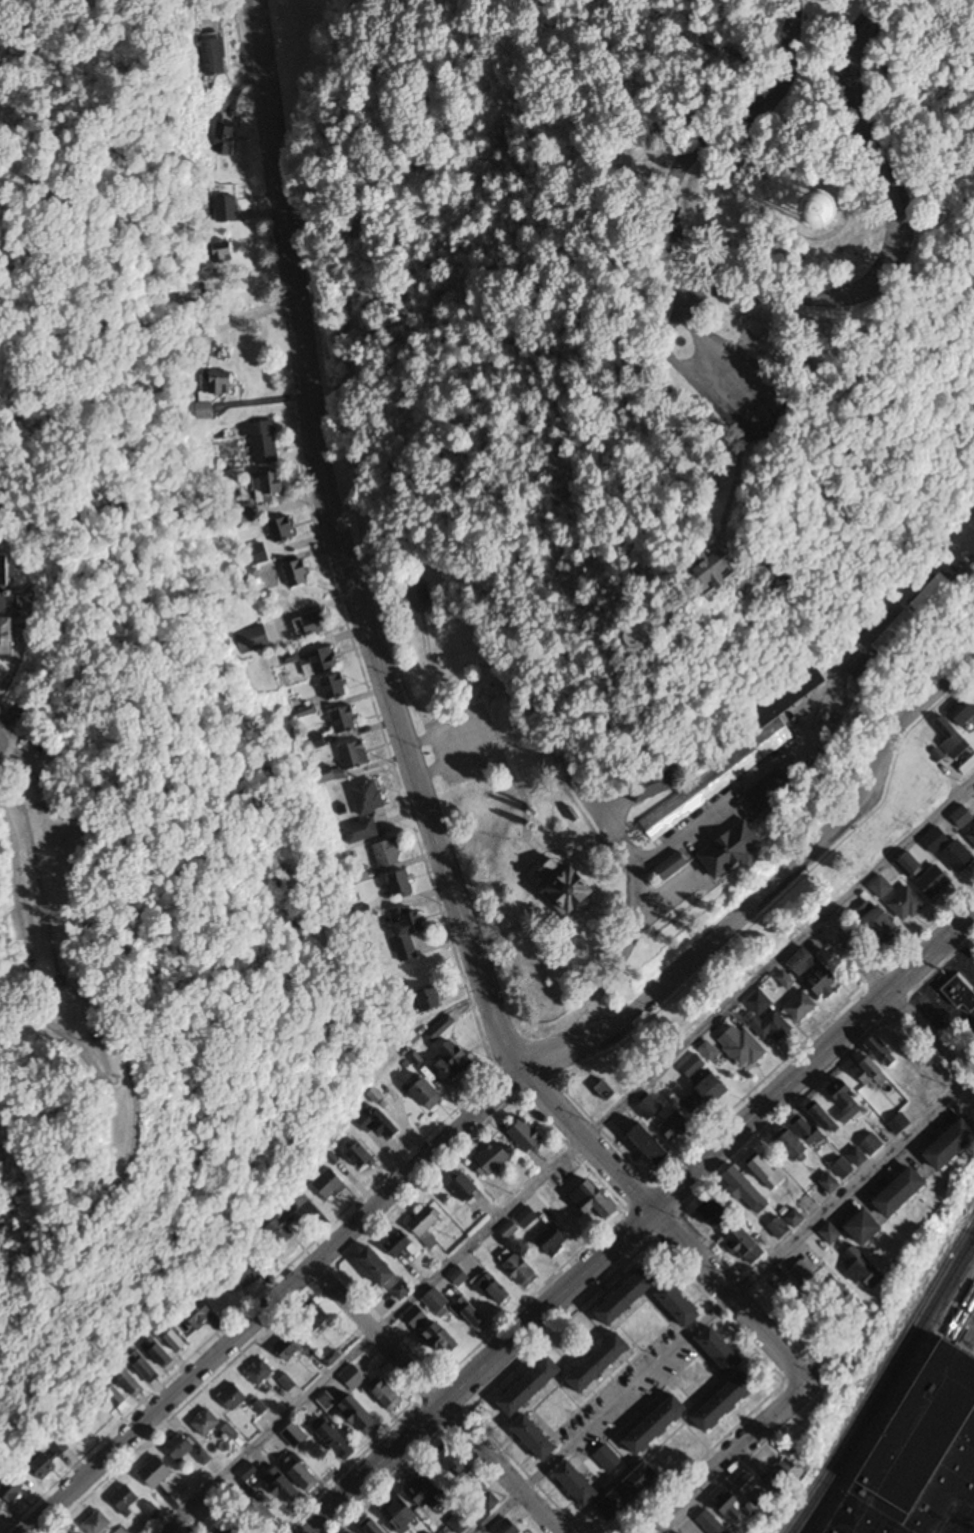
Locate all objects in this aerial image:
building: (216, 56)
building: (226, 138)
building: (837, 207)
water tower: (815, 208)
building: (227, 210)
building: (225, 254)
road: (689, 290)
road: (781, 296)
road: (685, 362)
road: (348, 370)
road: (735, 382)
building: (219, 384)
building: (820, 387)
parking lot: (746, 390)
building: (206, 411)
park: (635, 438)
building: (262, 441)
building: (272, 483)
building: (245, 513)
building: (282, 529)
road: (736, 542)
road: (337, 547)
building: (728, 567)
building: (7, 571)
building: (297, 574)
building: (250, 579)
building: (935, 593)
building: (8, 602)
building: (312, 625)
building: (897, 633)
building: (9, 635)
building: (252, 640)
building: (290, 658)
building: (319, 662)
building: (870, 670)
building: (334, 687)
building: (783, 702)
building: (963, 710)
building: (344, 720)
road: (483, 735)
building: (952, 739)
parking lot: (463, 745)
building: (354, 756)
building: (330, 775)
building: (653, 785)
building: (368, 798)
building: (682, 805)
building: (948, 830)
building: (970, 830)
building: (361, 831)
building: (735, 850)
building: (388, 854)
building: (955, 860)
building: (907, 864)
building: (674, 866)
building: (932, 880)
building: (402, 884)
building: (573, 887)
building: (881, 888)
building: (905, 904)
building: (879, 925)
building: (406, 933)
road: (855, 955)
building: (803, 962)
building: (816, 975)
building: (958, 995)
building: (792, 998)
building: (430, 999)
building: (768, 1019)
building: (440, 1029)
road: (932, 1036)
building: (741, 1047)
building: (881, 1050)
building: (453, 1064)
building: (863, 1070)
road: (504, 1085)
building: (606, 1091)
building: (705, 1094)
building: (428, 1095)
building: (845, 1105)
building: (649, 1108)
building: (376, 1125)
building: (816, 1125)
building: (675, 1127)
building: (526, 1137)
building: (791, 1144)
building: (872, 1145)
building: (651, 1146)
building: (953, 1146)
road: (566, 1154)
building: (361, 1158)
building: (494, 1159)
building: (767, 1173)
building: (330, 1185)
building: (744, 1188)
building: (464, 1189)
road: (851, 1194)
building: (903, 1194)
building: (593, 1202)
building: (715, 1212)
building: (525, 1217)
building: (794, 1218)
road: (638, 1219)
building: (289, 1221)
building: (425, 1225)
building: (779, 1228)
road: (665, 1229)
building: (866, 1229)
building: (509, 1231)
building: (830, 1234)
building: (553, 1240)
building: (400, 1245)
building: (745, 1247)
building: (377, 1267)
building: (248, 1270)
building: (865, 1270)
building: (521, 1271)
building: (803, 1273)
building: (458, 1277)
building: (491, 1287)
building: (401, 1290)
building: (629, 1296)
building: (842, 1299)
building: (437, 1303)
building: (679, 1305)
building: (199, 1314)
building: (471, 1314)
building: (317, 1317)
building: (417, 1317)
building: (176, 1340)
building: (436, 1343)
building: (290, 1347)
building: (722, 1351)
building: (158, 1353)
building: (600, 1364)
building: (144, 1367)
building: (260, 1373)
railway: (879, 1374)
building: (353, 1377)
building: (129, 1381)
railway: (884, 1382)
building: (531, 1387)
road: (437, 1394)
building: (389, 1396)
building: (116, 1397)
building: (233, 1398)
building: (327, 1401)
building: (726, 1402)
building: (360, 1415)
building: (206, 1423)
building: (657, 1426)
building: (230, 1432)
building: (295, 1436)
building: (535, 1439)
building: (337, 1441)
building: (179, 1449)
building: (202, 1457)
building: (922, 1458)
building: (51, 1459)
building: (454, 1459)
building: (608, 1459)
road: (735, 1461)
building: (785, 1472)
building: (156, 1473)
building: (302, 1474)
building: (244, 1476)
building: (577, 1485)
building: (284, 1487)
building: (12, 1490)
building: (423, 1490)
building: (629, 1493)
building: (125, 1501)
building: (747, 1501)
building: (1, 1509)
building: (260, 1512)
building: (398, 1513)
road: (509, 1515)
building: (99, 1523)
building: (712, 1524)
building: (458, 1525)
building: (372, 1527)
building: (506, 1528)
building: (122, 1530)
building: (180, 1532)

